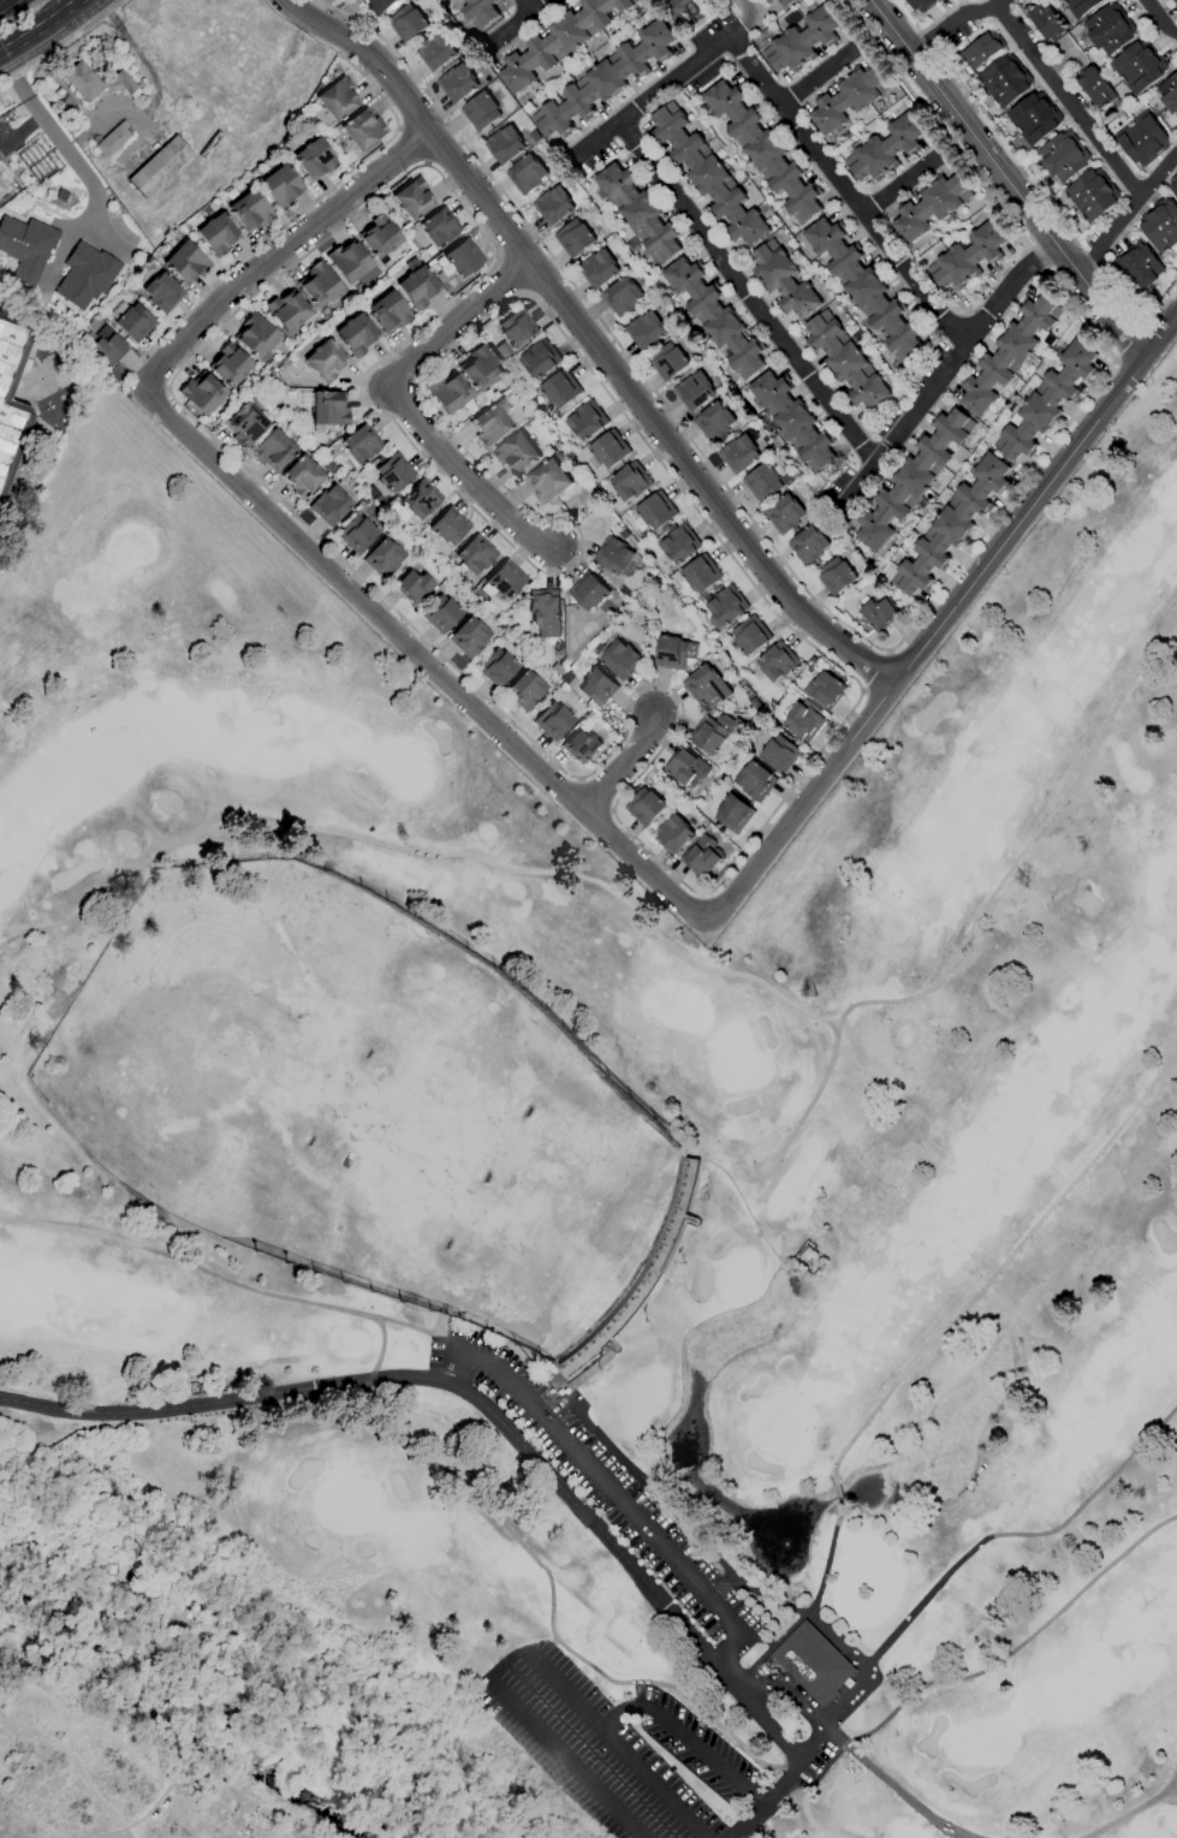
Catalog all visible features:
building: (452, 0)
building: (768, 1)
building: (785, 2)
building: (1175, 2)
road: (6, 4)
building: (923, 5)
building: (381, 6)
building: (1081, 6)
road: (530, 8)
building: (673, 8)
road: (743, 11)
building: (480, 12)
road: (956, 18)
road: (1160, 18)
building: (1046, 22)
building: (408, 24)
road: (525, 24)
road: (40, 28)
building: (1110, 29)
building: (560, 41)
building: (803, 41)
road: (63, 43)
road: (133, 48)
building: (435, 50)
building: (981, 50)
building: (1139, 67)
road: (816, 79)
building: (81, 81)
building: (604, 81)
building: (1005, 81)
building: (121, 82)
building: (457, 83)
building: (1098, 89)
road: (658, 91)
building: (1169, 94)
building: (849, 99)
building: (335, 101)
building: (67, 102)
road: (1066, 103)
building: (481, 111)
building: (1034, 118)
building: (308, 119)
road: (400, 127)
building: (363, 129)
road: (55, 133)
building: (114, 138)
building: (1142, 139)
building: (504, 144)
road: (415, 145)
building: (885, 149)
building: (763, 150)
building: (1064, 156)
building: (315, 159)
road: (428, 163)
building: (160, 166)
building: (527, 174)
building: (707, 176)
road: (1006, 180)
building: (1173, 183)
road: (1030, 184)
building: (280, 186)
road: (899, 186)
road: (844, 191)
building: (1092, 195)
building: (414, 198)
building: (552, 206)
building: (931, 207)
building: (250, 210)
road: (1127, 212)
building: (638, 213)
road: (291, 219)
building: (1160, 225)
building: (440, 227)
building: (216, 233)
building: (381, 237)
building: (573, 238)
building: (25, 246)
building: (463, 257)
building: (968, 257)
building: (349, 261)
building: (186, 263)
building: (598, 268)
building: (1136, 268)
building: (83, 275)
building: (783, 279)
building: (417, 284)
building: (320, 285)
building: (863, 287)
building: (162, 292)
building: (622, 297)
road: (745, 298)
building: (287, 310)
building: (388, 313)
building: (715, 316)
building: (131, 321)
building: (517, 328)
building: (644, 331)
building: (356, 334)
building: (257, 338)
road: (1127, 341)
road: (587, 344)
building: (106, 346)
building: (1009, 353)
building: (540, 358)
road: (167, 359)
building: (325, 361)
building: (667, 362)
building: (845, 362)
building: (231, 364)
building: (481, 369)
road: (945, 370)
building: (560, 388)
building: (694, 391)
building: (202, 393)
building: (448, 393)
building: (1047, 401)
road: (409, 404)
building: (328, 410)
building: (14, 411)
building: (587, 421)
building: (714, 421)
building: (791, 421)
building: (492, 423)
building: (245, 424)
building: (362, 442)
building: (610, 448)
building: (273, 451)
building: (517, 453)
building: (738, 454)
road: (655, 458)
building: (393, 471)
building: (303, 477)
building: (913, 480)
building: (549, 481)
building: (631, 482)
building: (762, 482)
building: (420, 499)
road: (1036, 501)
building: (328, 505)
building: (656, 511)
building: (785, 514)
building: (448, 525)
building: (949, 528)
building: (356, 534)
building: (679, 545)
building: (808, 545)
building: (474, 555)
building: (613, 555)
building: (382, 558)
building: (701, 573)
building: (836, 576)
building: (503, 581)
building: (412, 587)
building: (588, 591)
building: (724, 606)
building: (545, 612)
building: (440, 613)
building: (880, 613)
building: (750, 636)
building: (469, 637)
road: (863, 640)
building: (598, 648)
building: (673, 653)
building: (622, 660)
building: (778, 661)
building: (497, 667)
building: (555, 670)
road: (873, 671)
building: (565, 677)
building: (707, 686)
building: (598, 688)
building: (525, 690)
building: (825, 691)
building: (755, 706)
building: (804, 720)
building: (552, 721)
building: (751, 724)
building: (714, 732)
building: (581, 746)
building: (780, 754)
road: (535, 763)
road: (624, 763)
building: (685, 767)
building: (755, 783)
road: (804, 805)
building: (644, 808)
building: (733, 814)
building: (671, 834)
road: (421, 852)
building: (701, 857)
road: (974, 918)
park: (624, 1138)
road: (1001, 1263)
road: (208, 1272)
building: (650, 1273)
road: (398, 1324)
road: (439, 1385)
road: (392, 1409)
road: (608, 1487)
parking lot: (699, 1565)
road: (945, 1574)
road: (1017, 1644)
road: (525, 1662)
building: (812, 1664)
road: (604, 1675)
road: (843, 1693)
road: (819, 1735)
river: (196, 1739)
road: (683, 1739)
road: (892, 1785)
road: (768, 1800)
building: (1176, 1801)
road: (1136, 1810)

